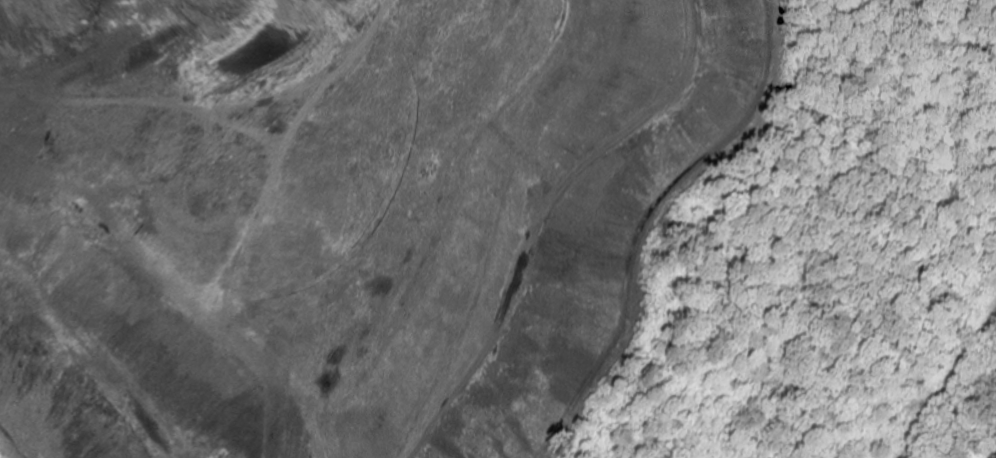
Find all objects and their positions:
road: (947, 383)

